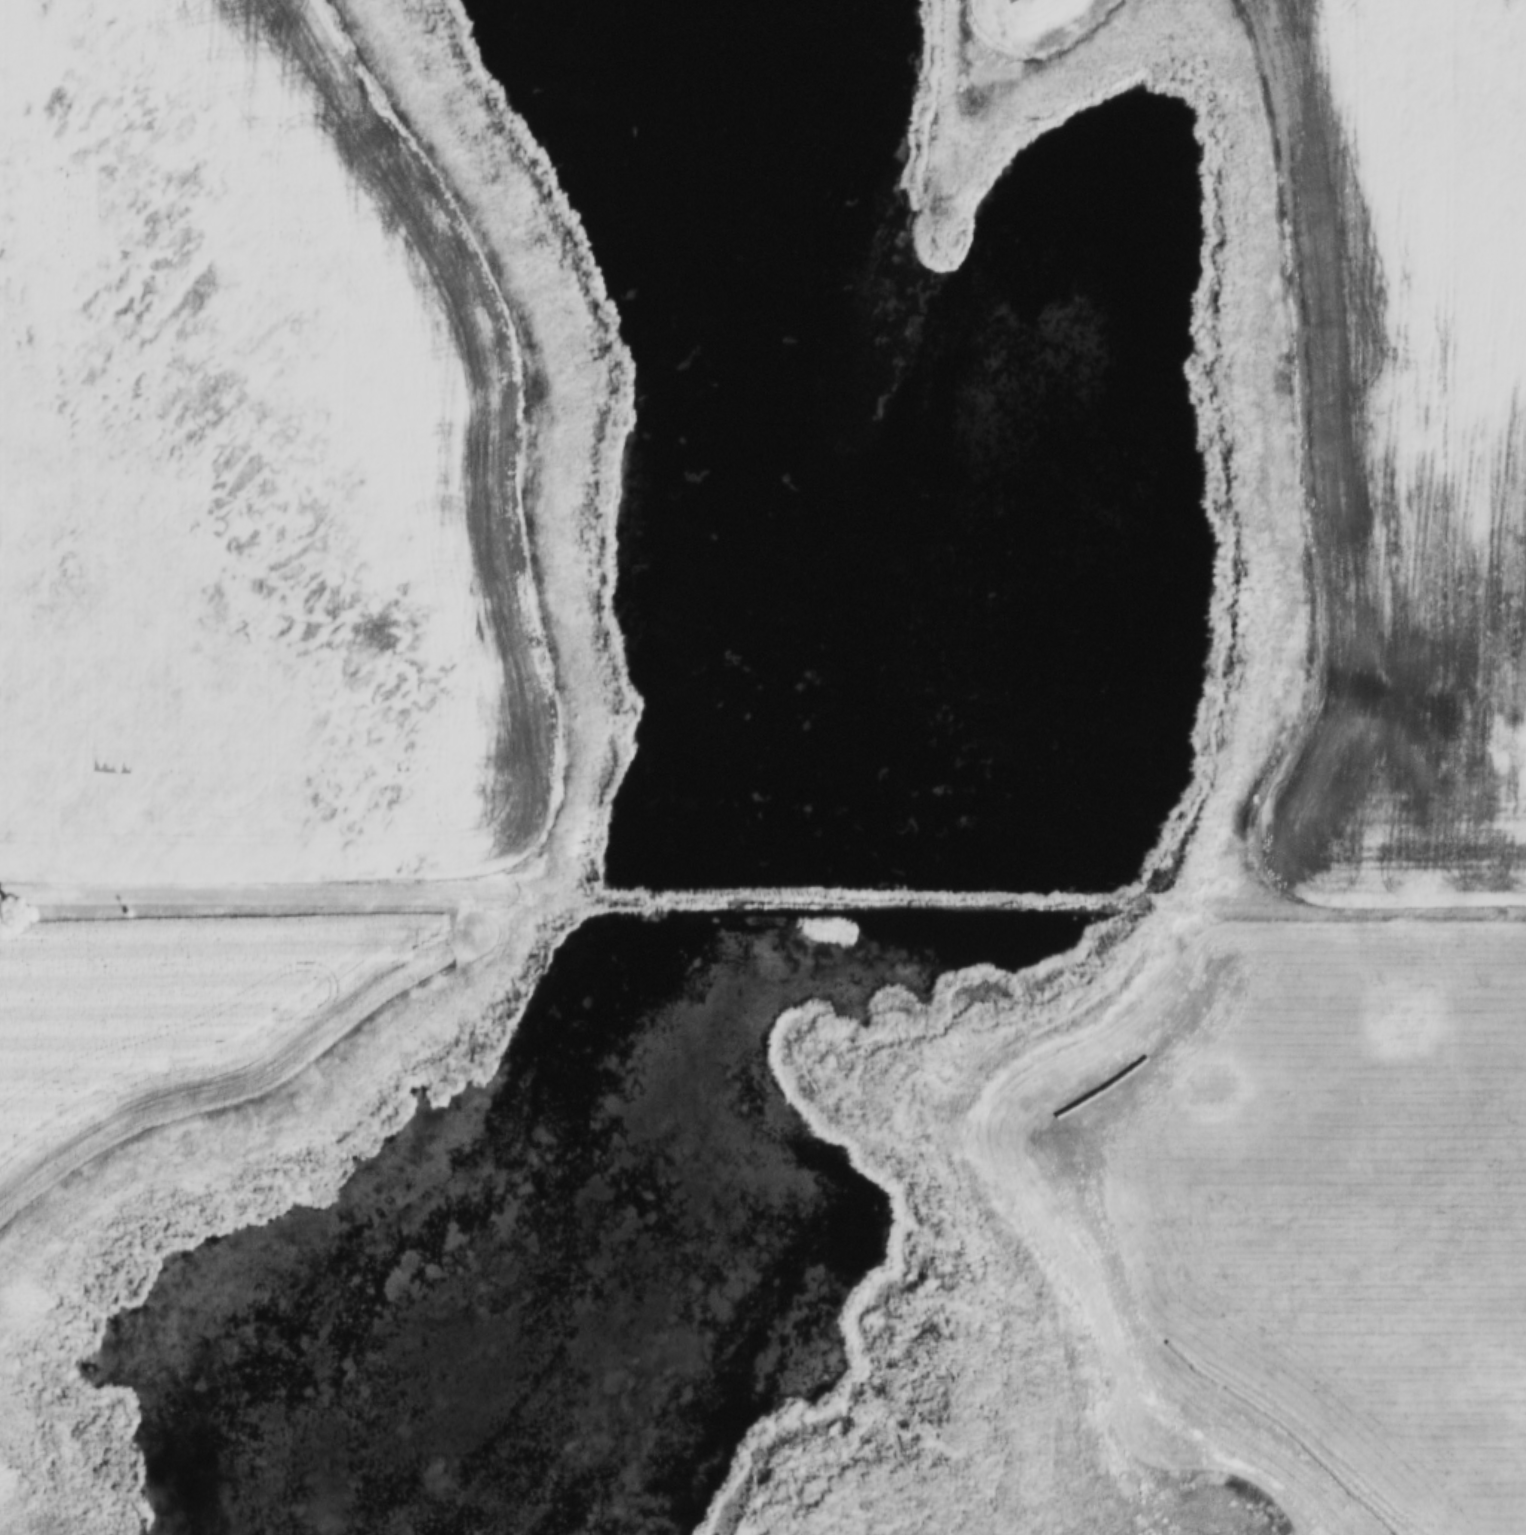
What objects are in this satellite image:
road: (763, 882)

